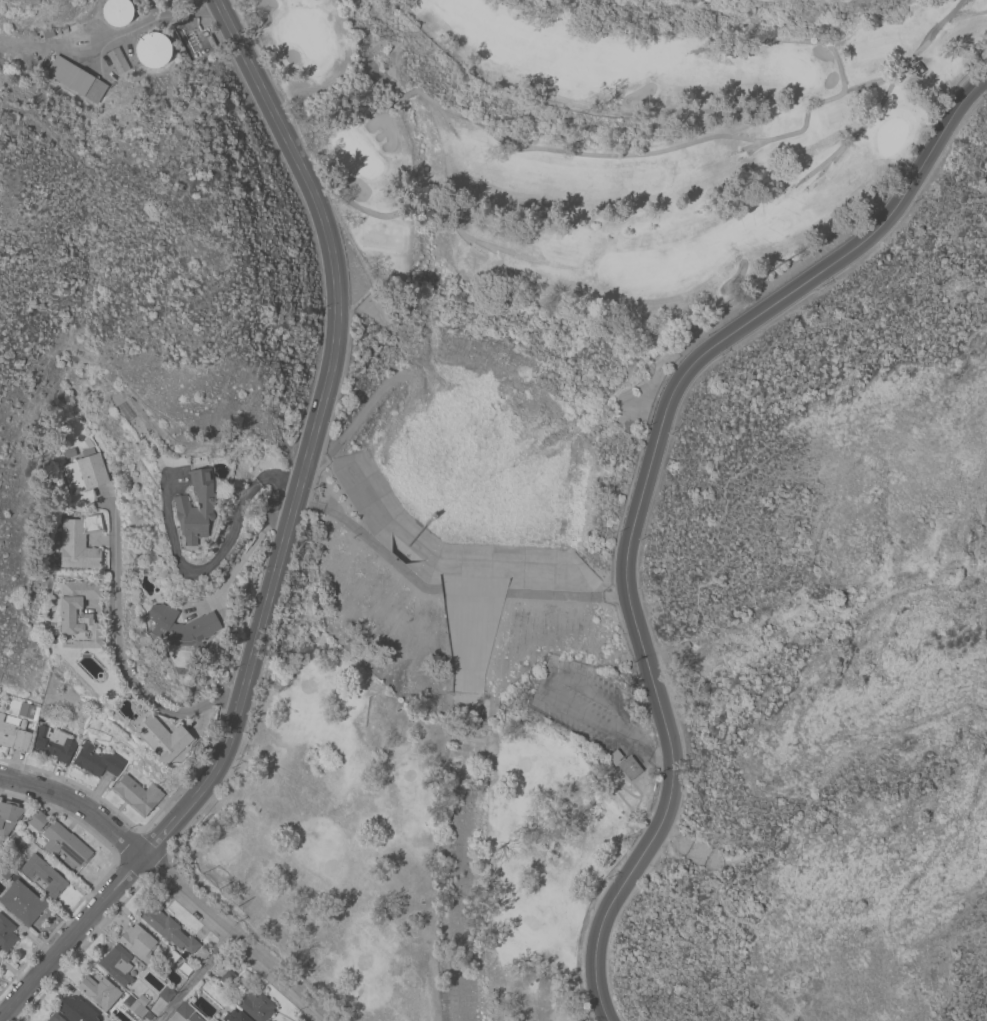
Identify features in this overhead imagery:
building: (116, 12)
road: (207, 14)
road: (98, 44)
building: (153, 49)
building: (117, 60)
building: (75, 79)
park: (605, 161)
road: (371, 405)
road: (311, 433)
road: (315, 457)
building: (85, 471)
road: (643, 493)
road: (309, 505)
building: (195, 507)
building: (80, 541)
road: (223, 548)
road: (382, 553)
road: (241, 557)
dam: (447, 590)
road: (567, 593)
building: (79, 615)
building: (182, 627)
road: (117, 648)
road: (549, 687)
road: (226, 696)
parking lot: (581, 701)
building: (18, 730)
road: (632, 735)
building: (163, 738)
building: (54, 744)
road: (653, 755)
building: (615, 757)
building: (98, 761)
building: (630, 767)
building: (137, 794)
building: (9, 816)
building: (18, 839)
building: (60, 839)
building: (6, 869)
building: (43, 875)
road: (172, 883)
building: (23, 902)
building: (167, 927)
building: (6, 934)
road: (73, 940)
building: (138, 942)
building: (171, 955)
building: (117, 964)
building: (184, 968)
building: (228, 978)
road: (194, 979)
building: (100, 991)
building: (166, 993)
building: (138, 1006)
building: (257, 1006)
building: (76, 1009)
building: (184, 1009)
building: (236, 1016)
building: (55, 1017)
building: (195, 1017)
road: (322, 1020)

